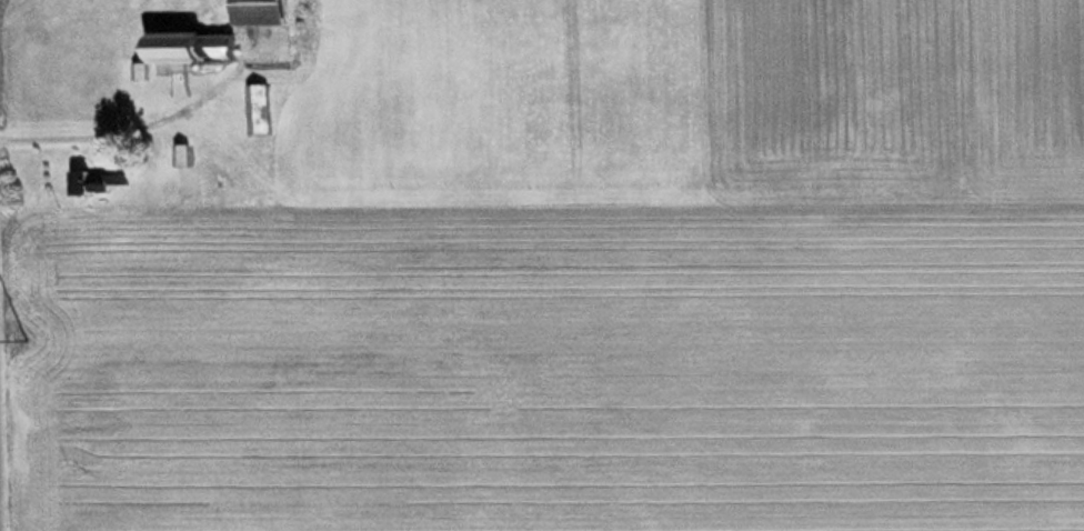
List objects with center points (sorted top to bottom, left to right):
building: (251, 12)
building: (178, 49)
building: (254, 109)
building: (178, 154)
building: (96, 180)

